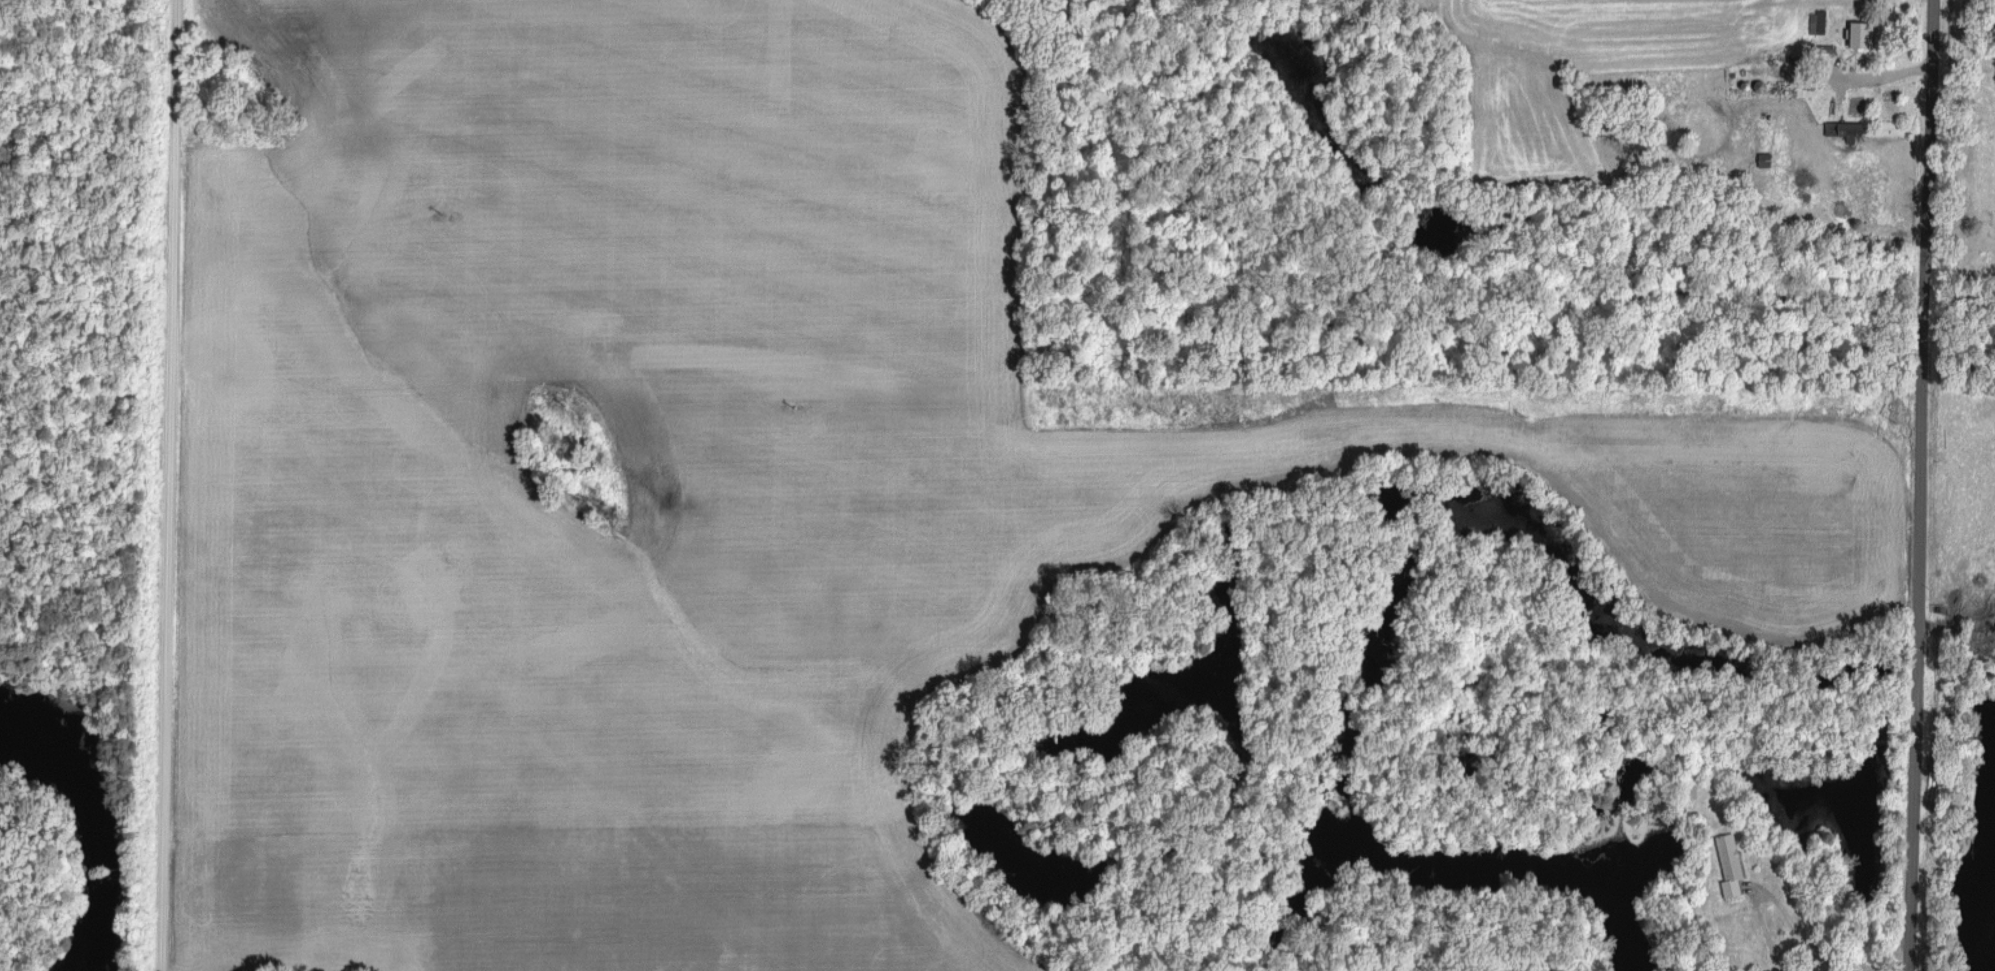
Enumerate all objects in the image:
building: (1864, 33)
building: (1847, 129)
road: (167, 485)
road: (1911, 485)
building: (1731, 864)
road: (1765, 930)
road: (1813, 945)
road: (1861, 970)

